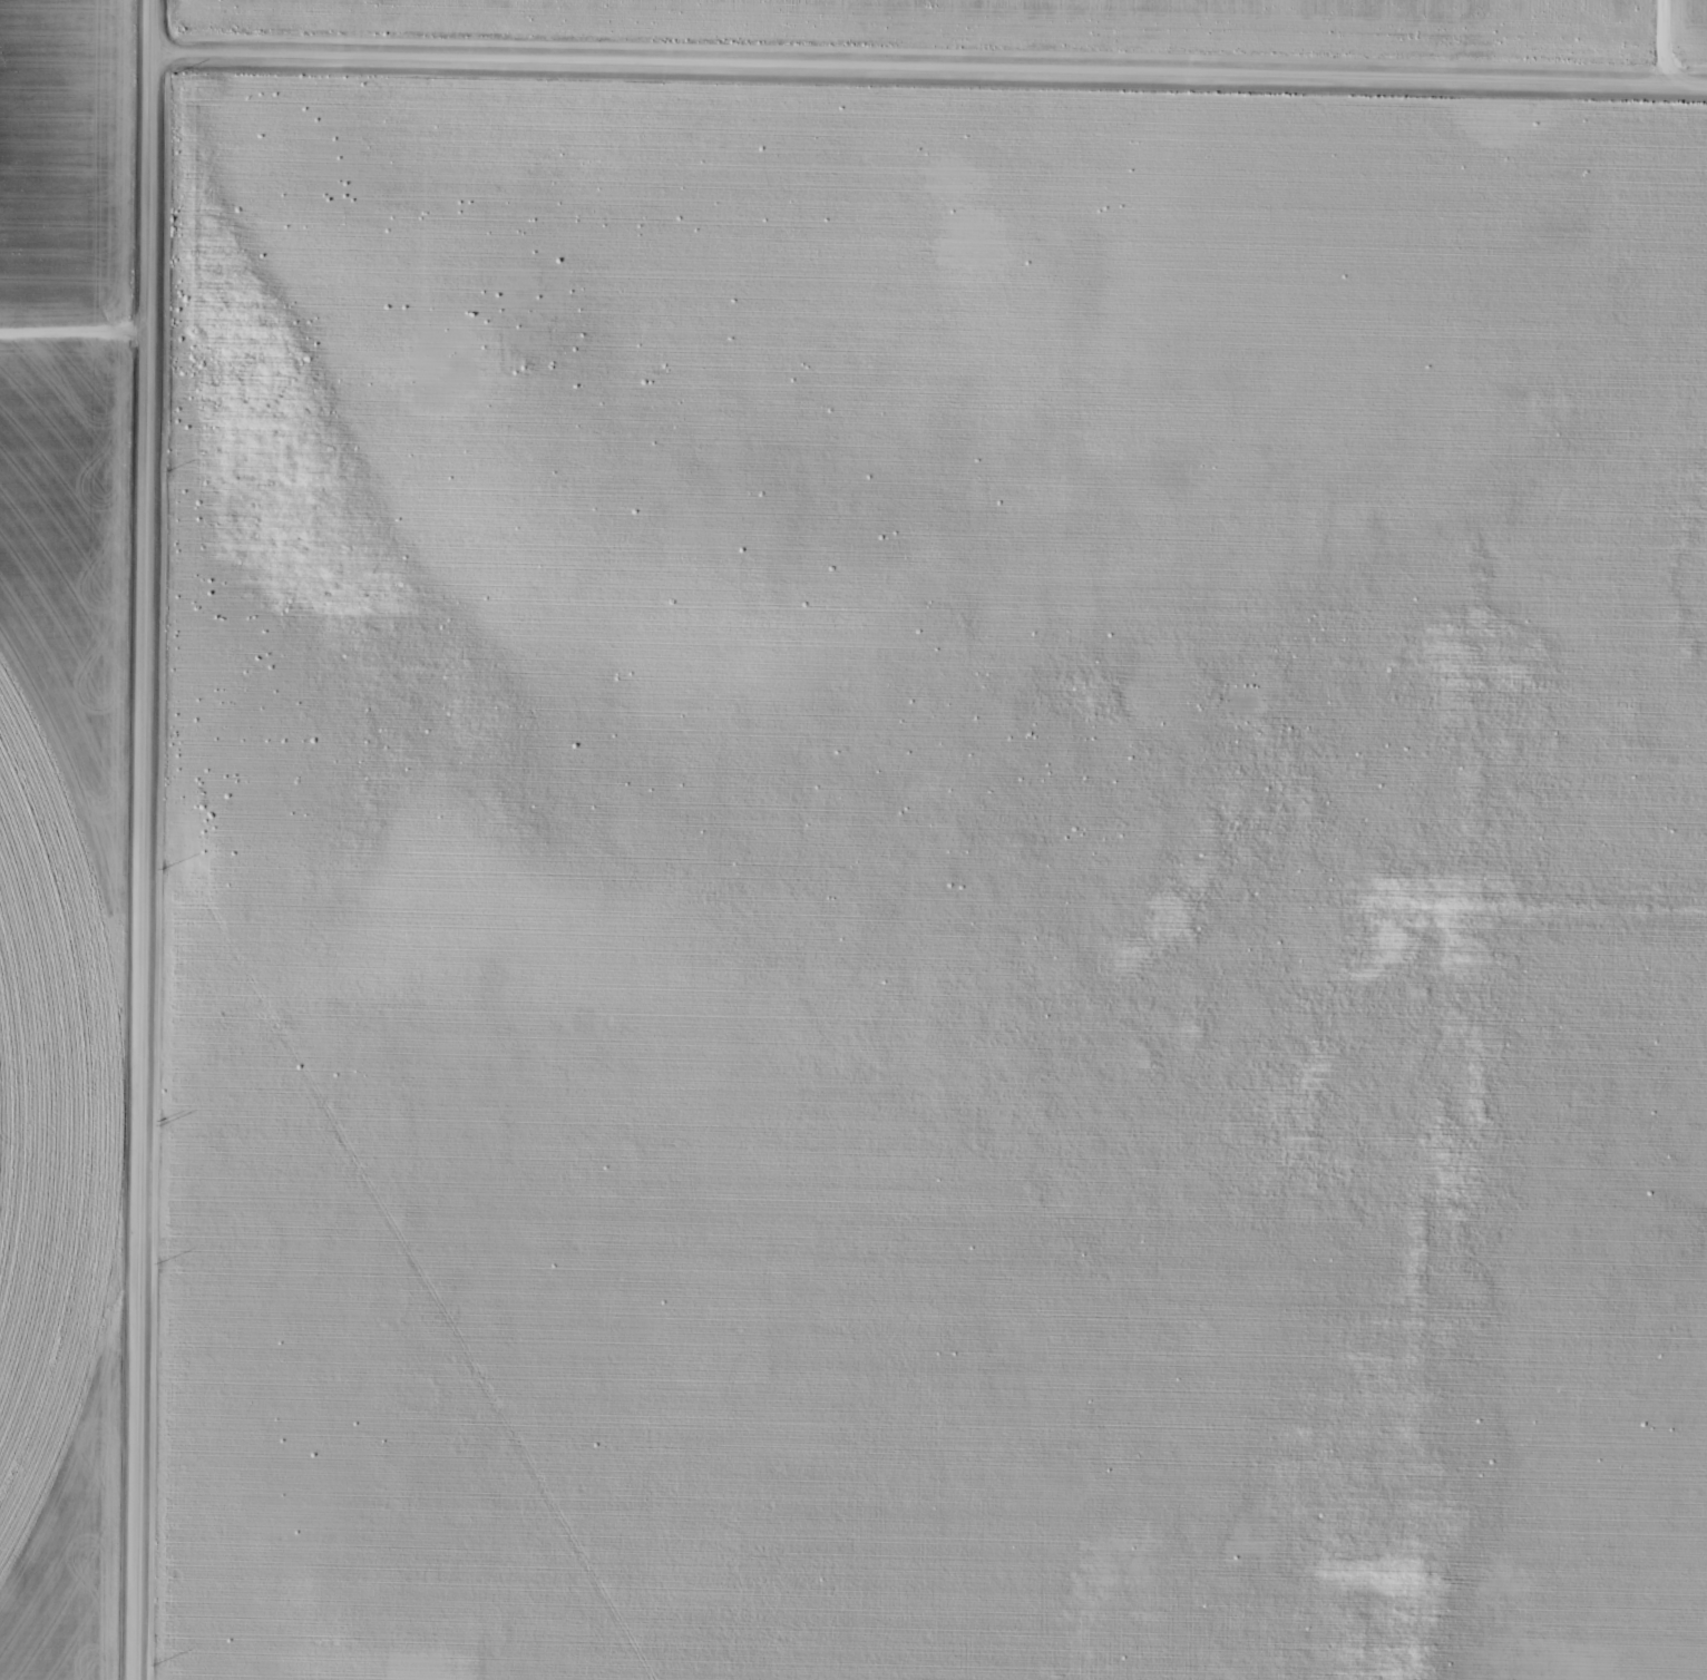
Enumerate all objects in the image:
road: (930, 89)
road: (147, 840)

